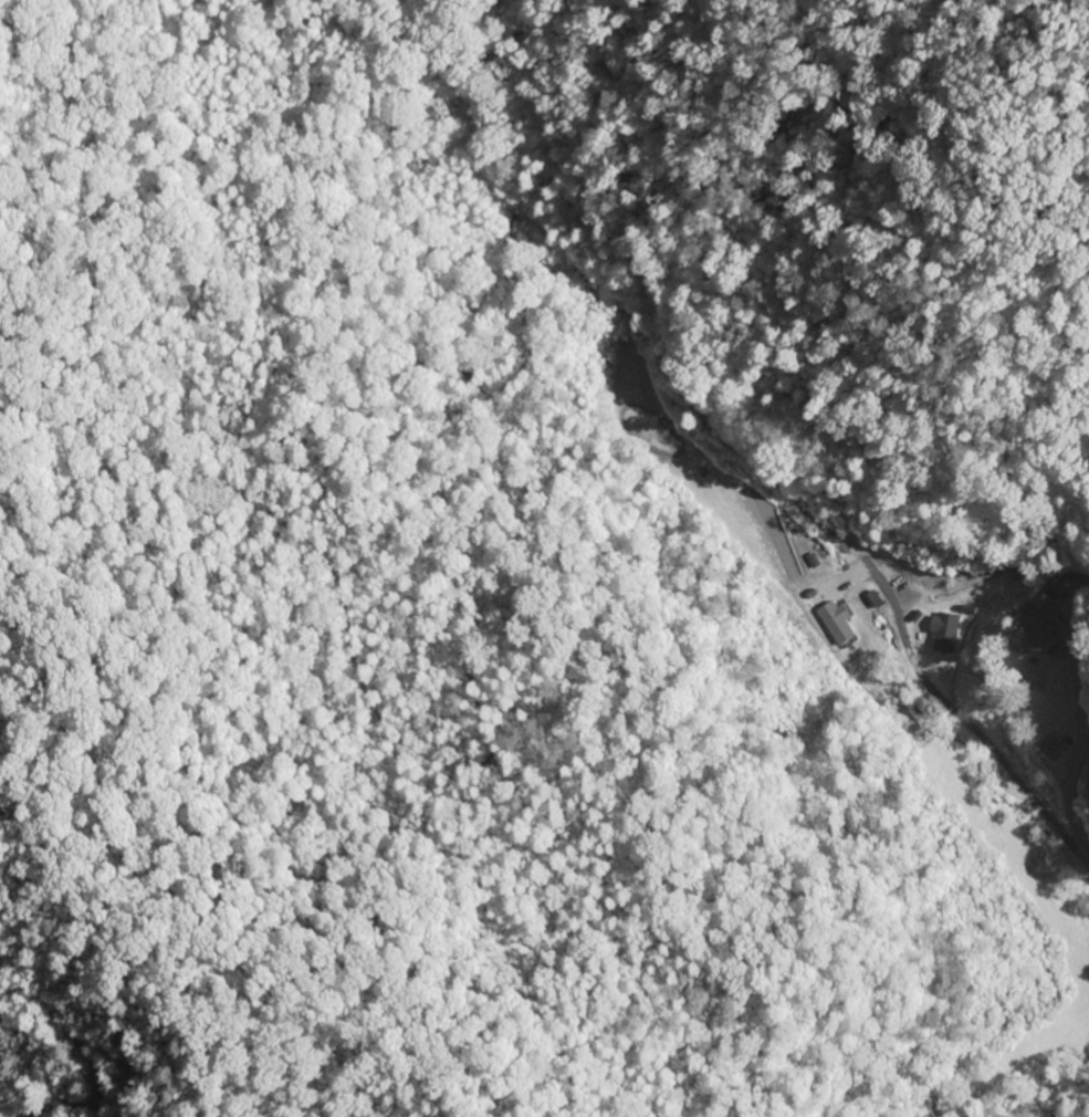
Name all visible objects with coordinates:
building: (942, 634)
building: (1024, 635)
road: (974, 745)

